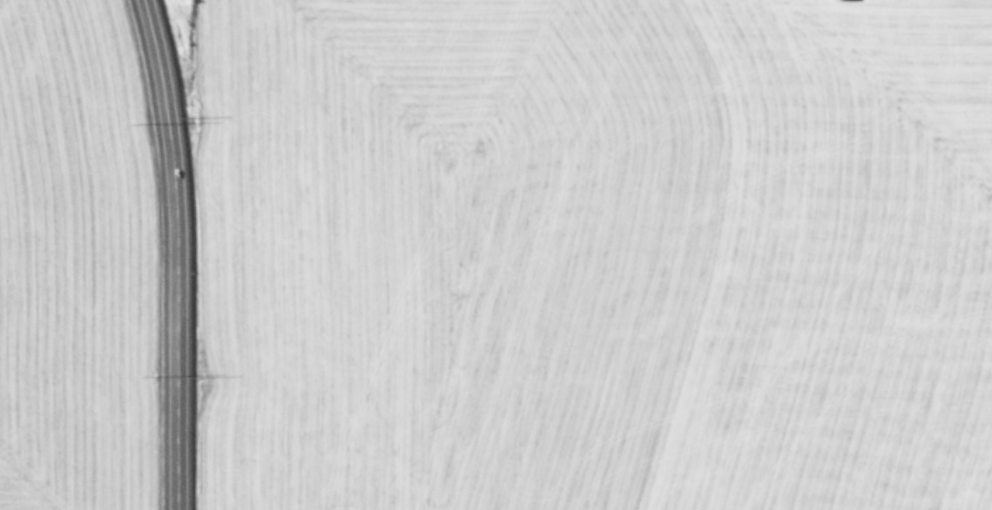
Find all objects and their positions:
road: (170, 253)
crop: (594, 255)
crop: (66, 263)

